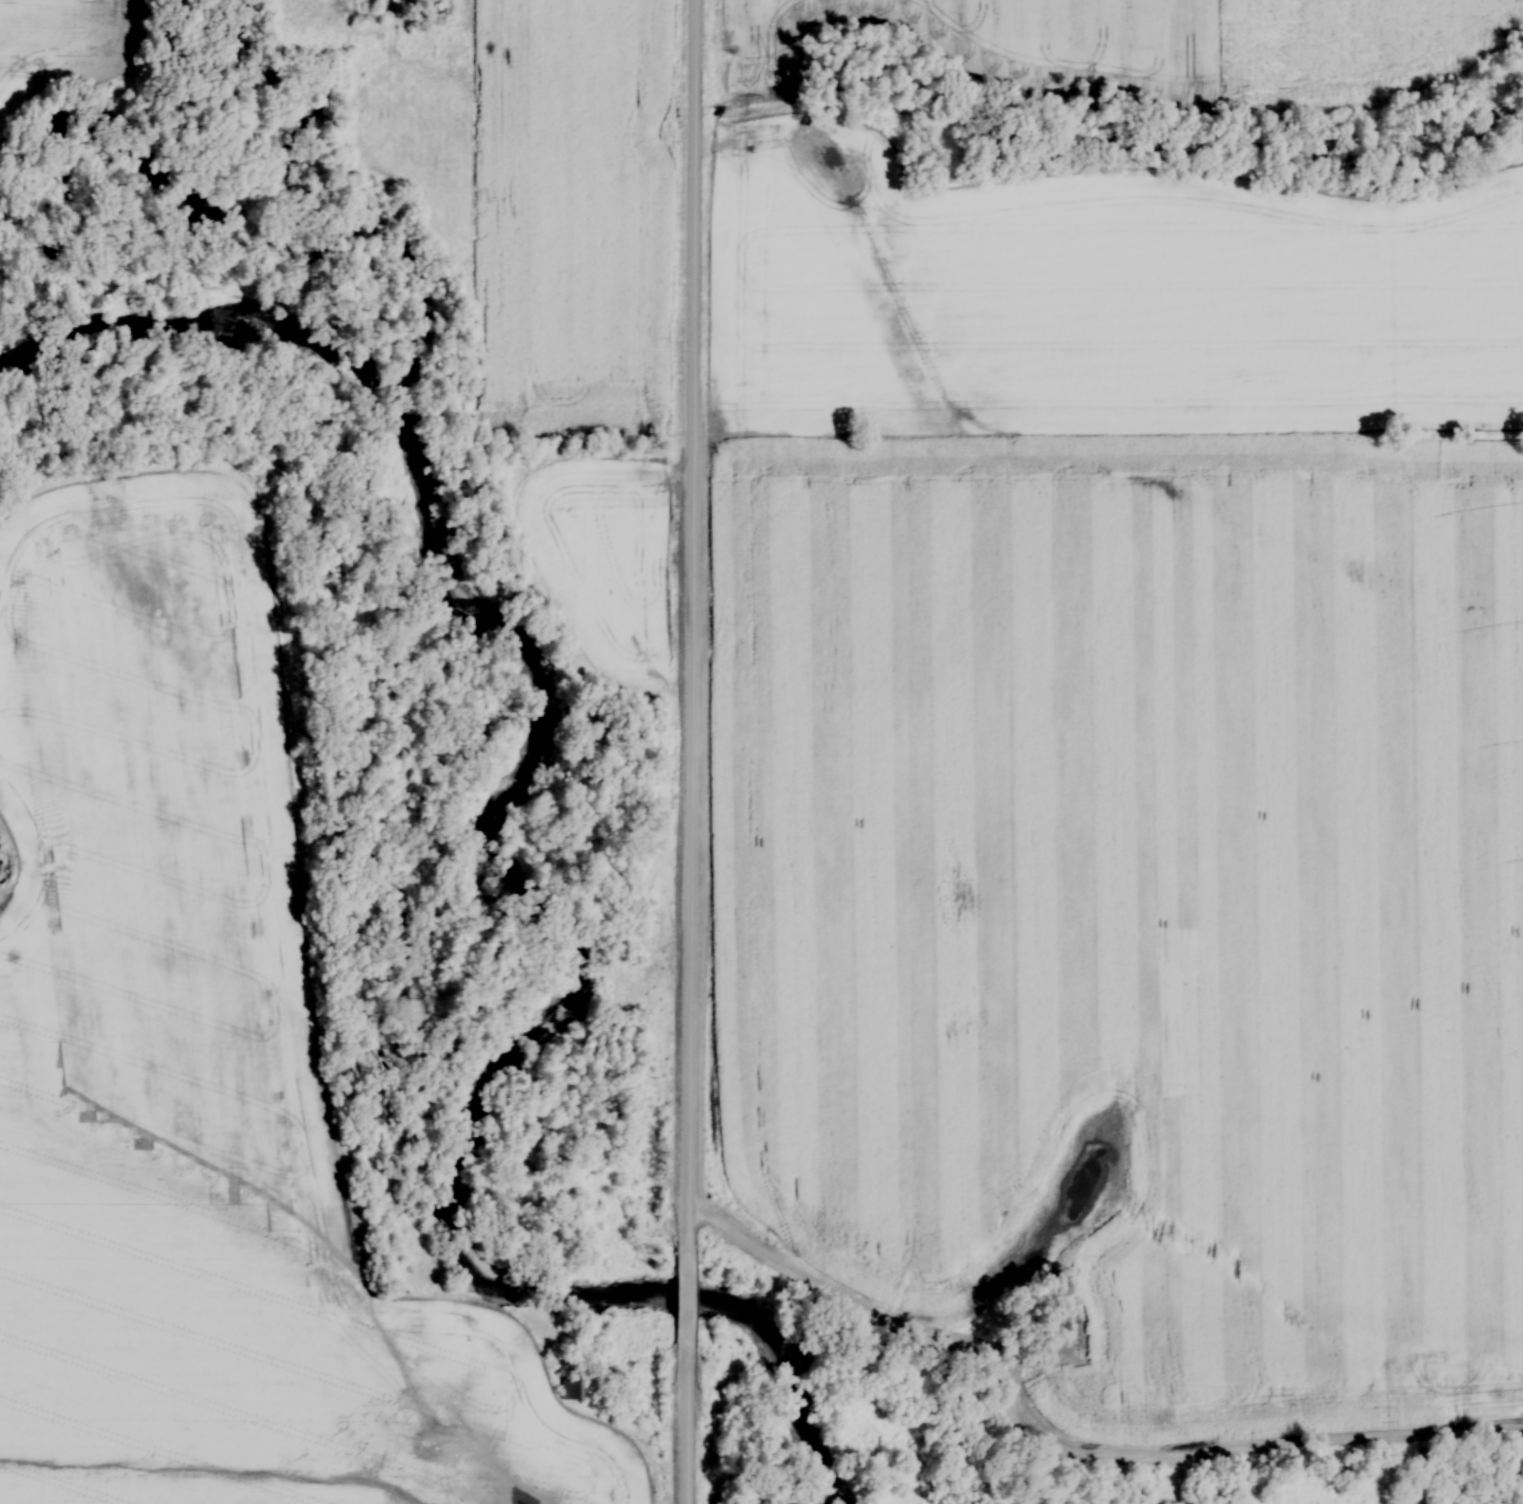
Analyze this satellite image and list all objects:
road: (692, 624)
road: (683, 1298)
building: (568, 1389)
road: (683, 1426)

